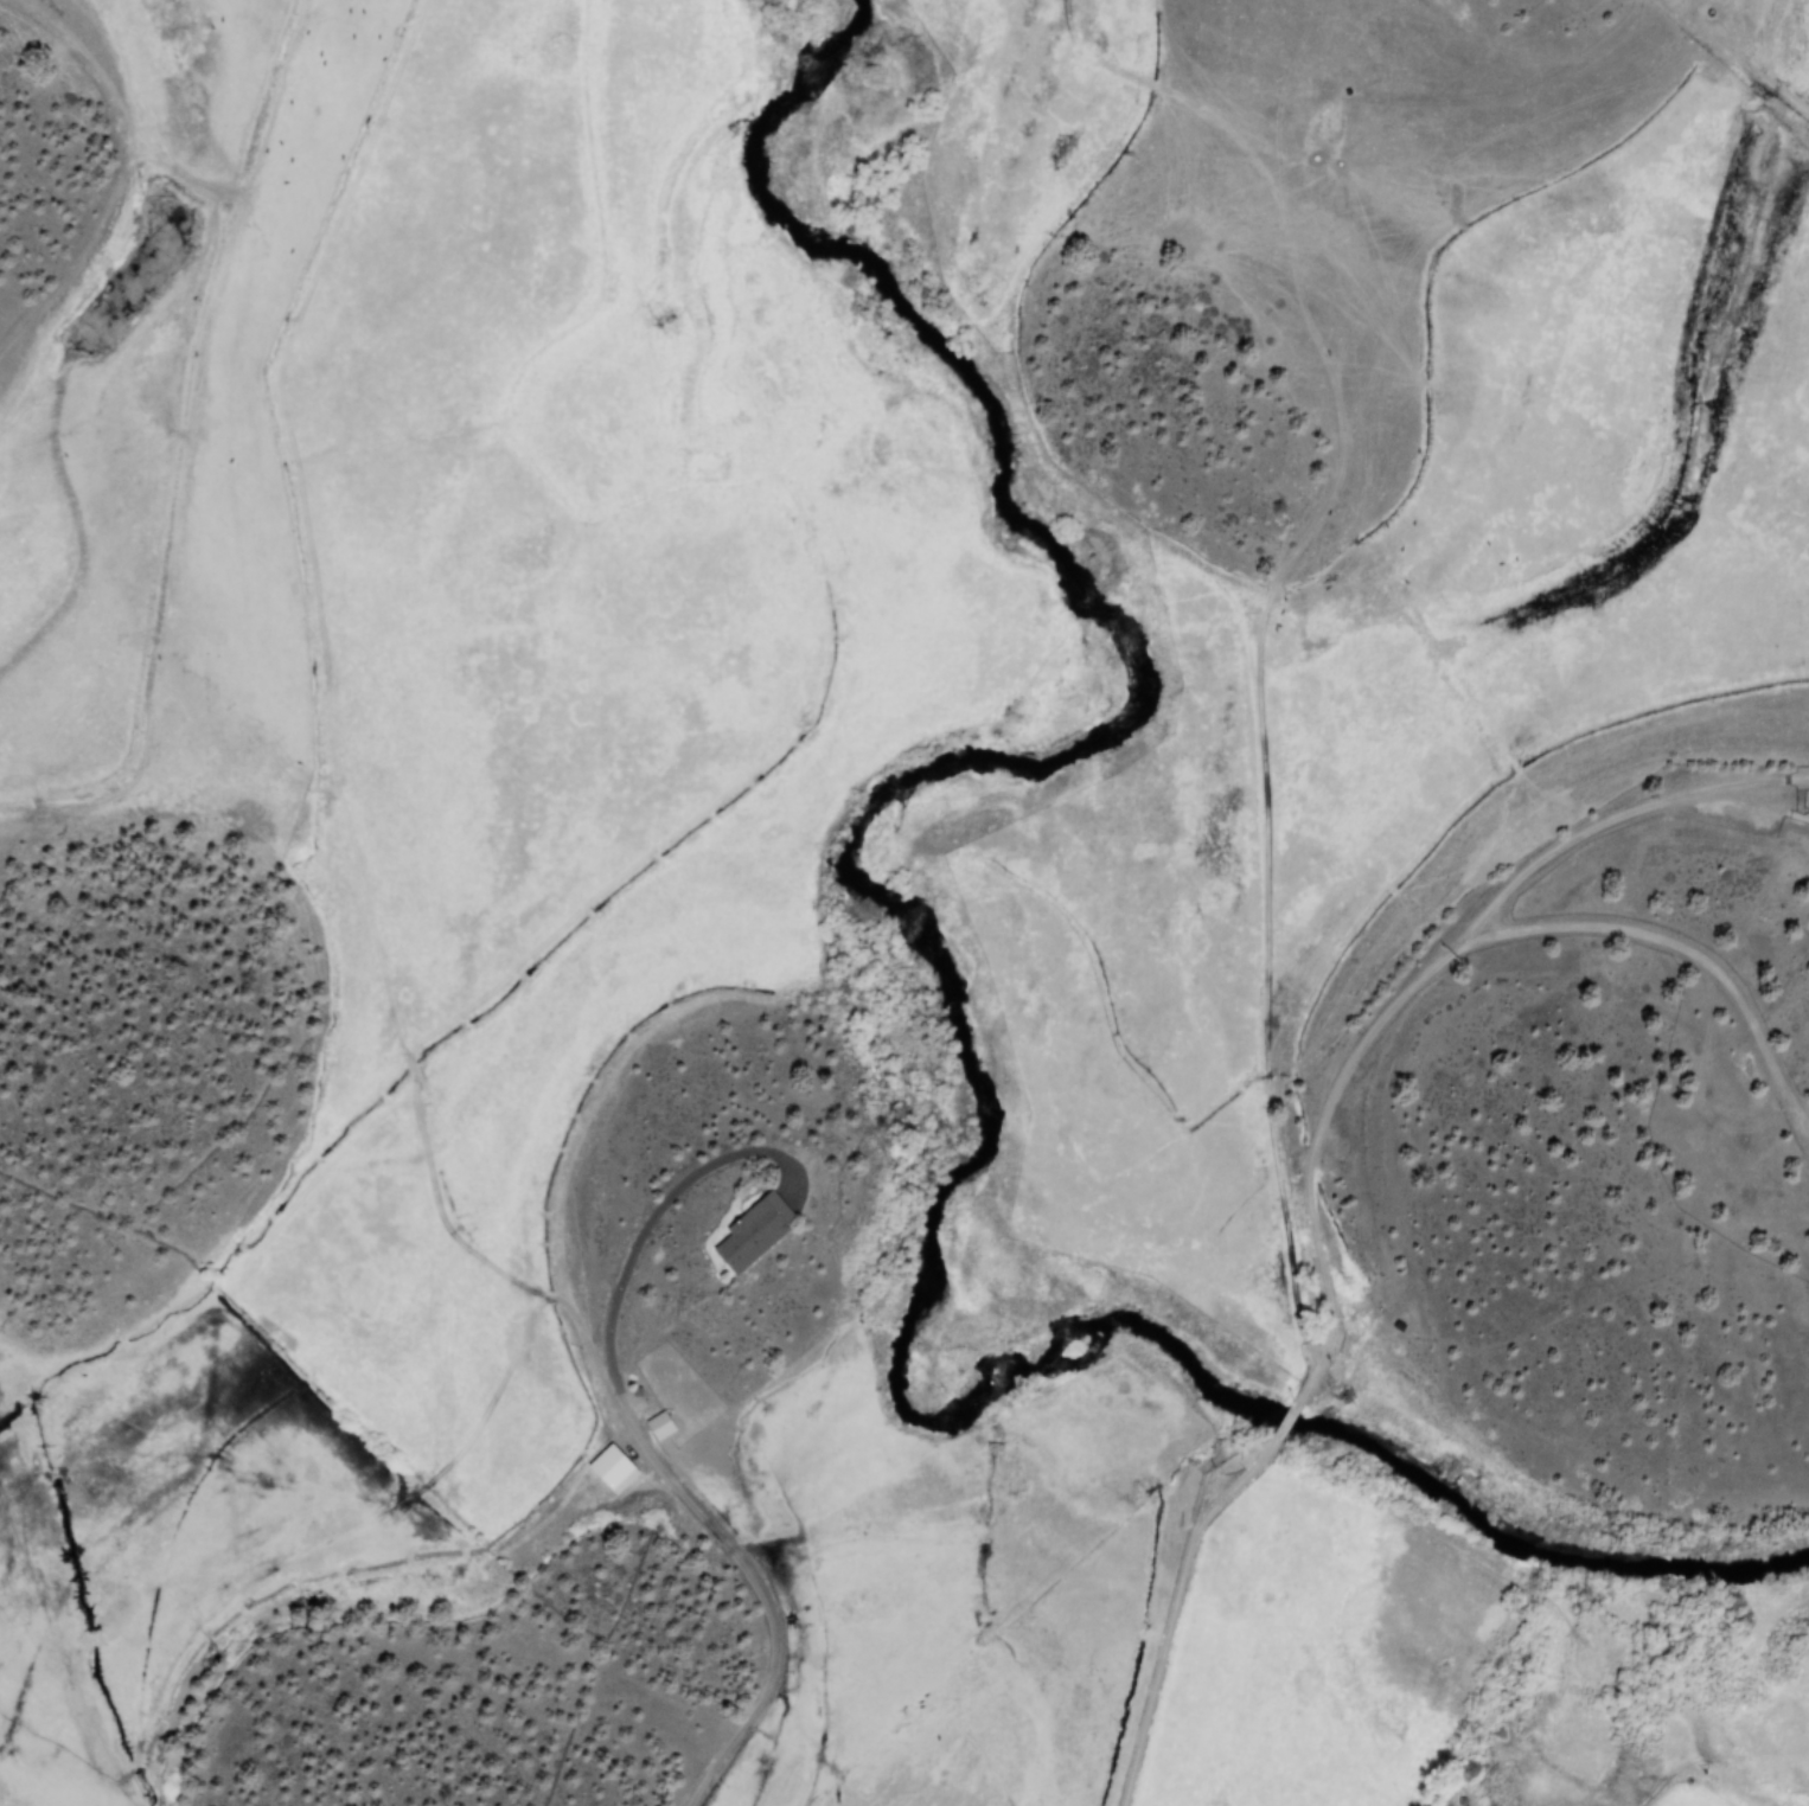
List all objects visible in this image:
river: (946, 1019)
road: (1293, 1172)
building: (749, 1234)
building: (658, 1426)
building: (611, 1469)

